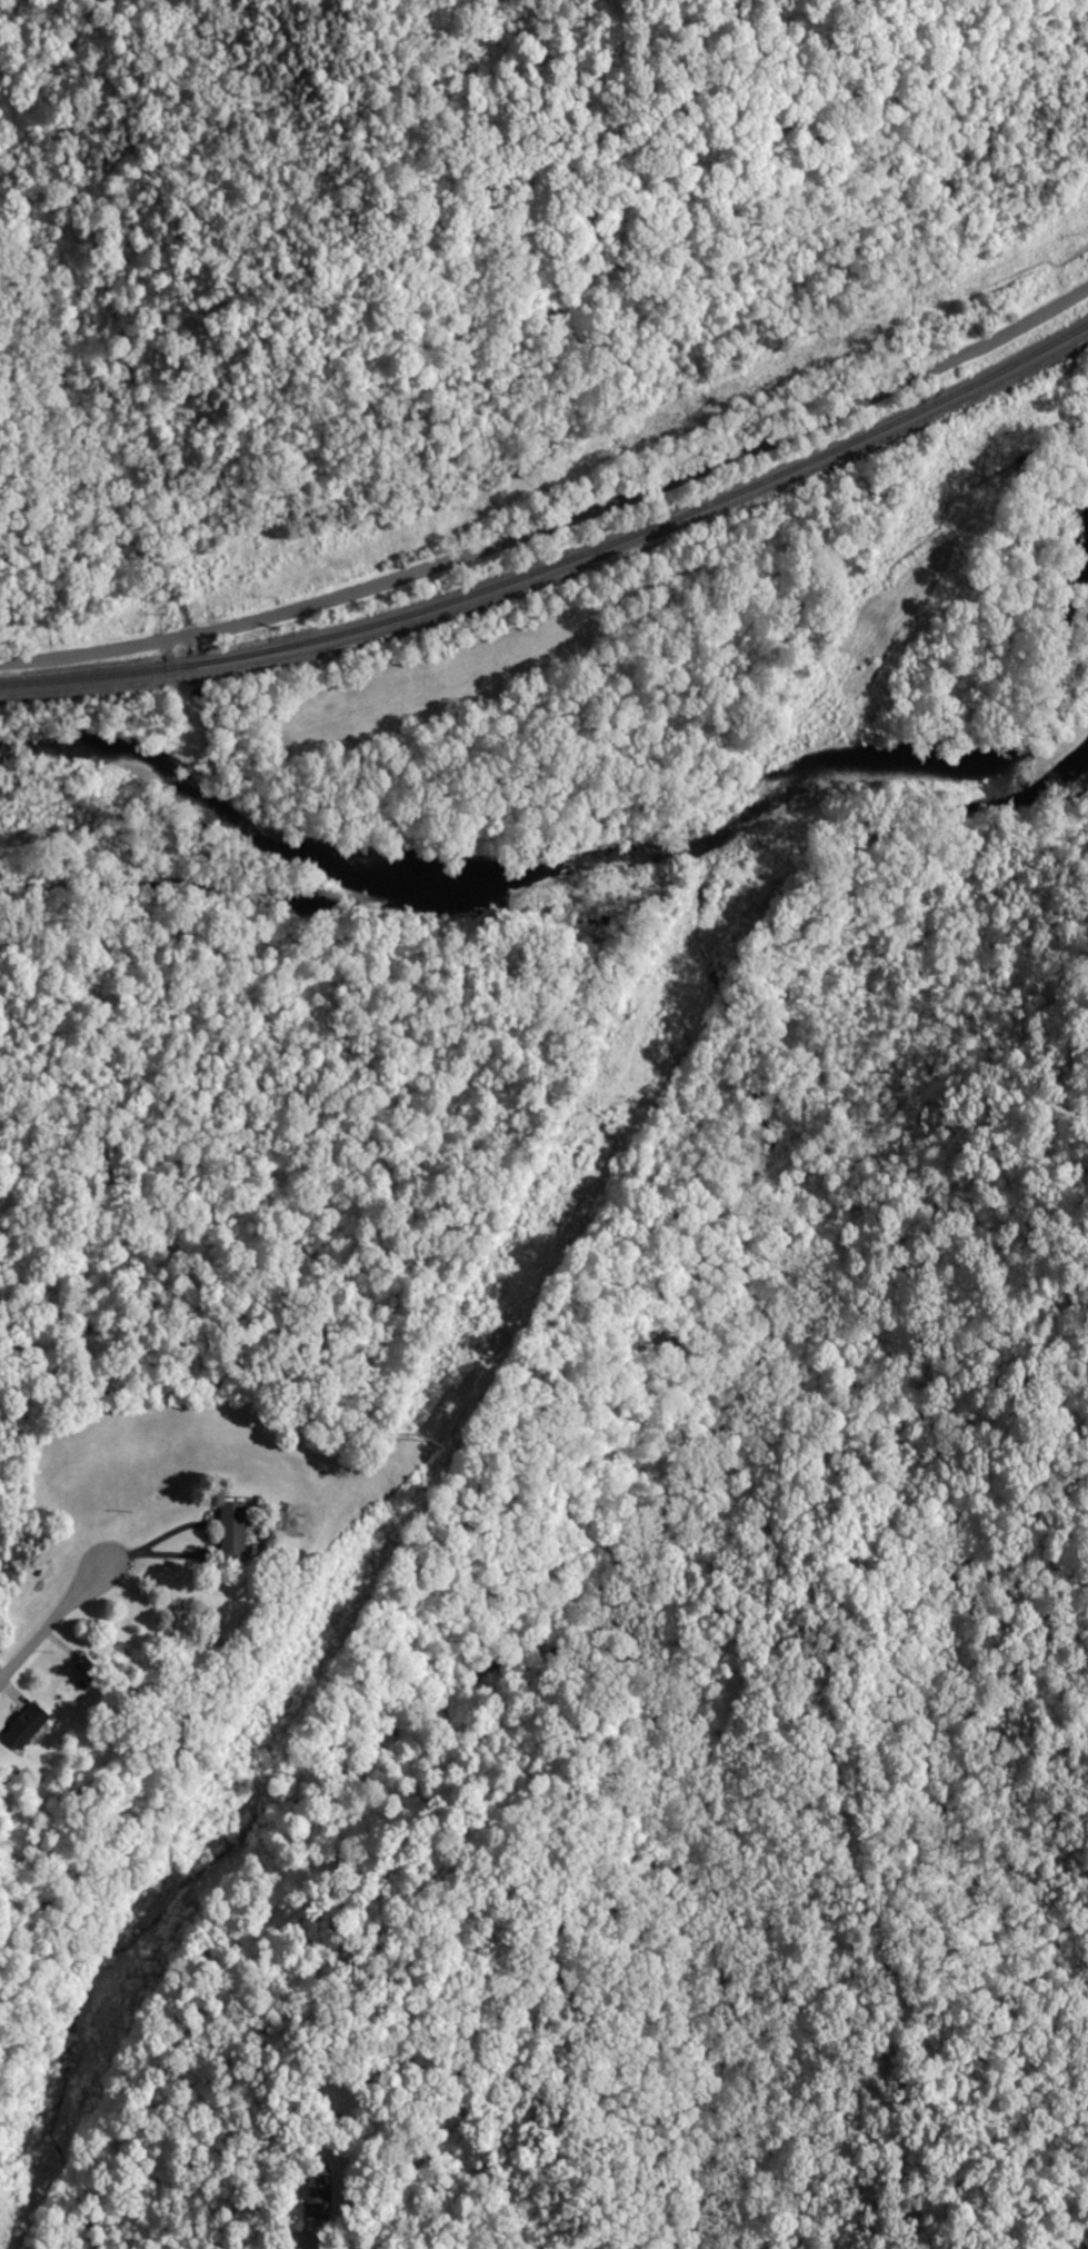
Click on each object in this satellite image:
road: (560, 525)
railway: (562, 566)
building: (240, 1529)
road: (146, 1556)
road: (48, 1630)
building: (91, 1669)
building: (31, 1725)
building: (319, 2191)
road: (303, 2239)

